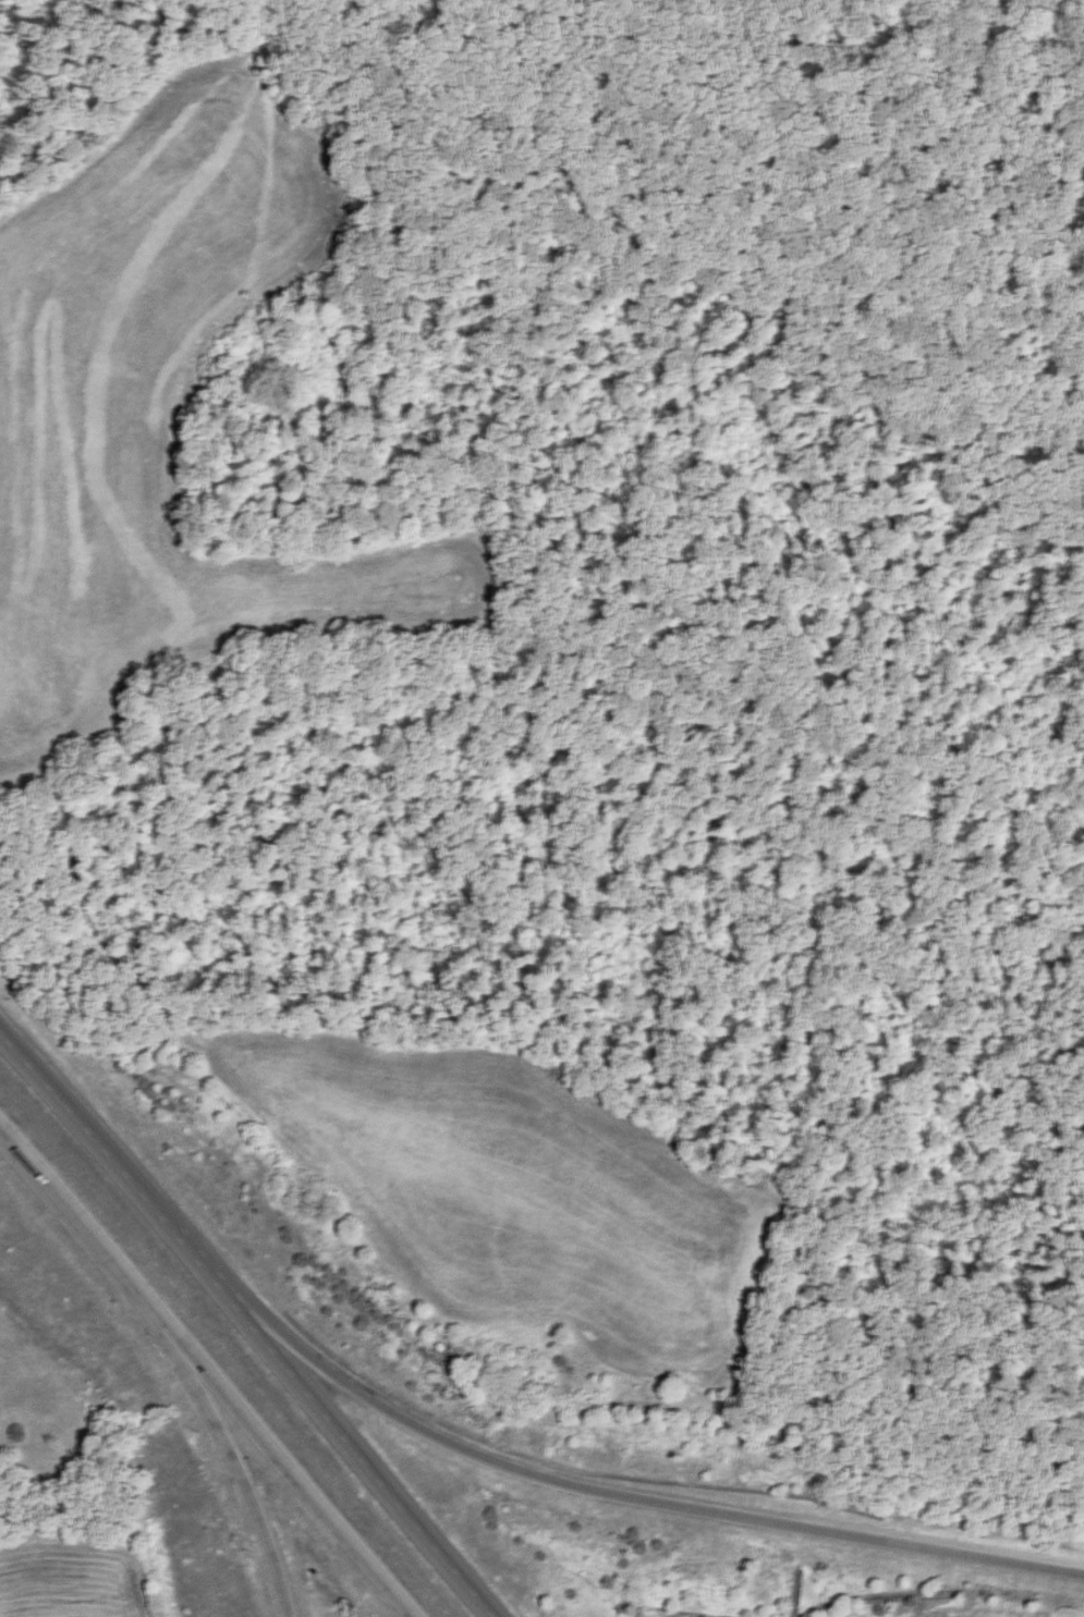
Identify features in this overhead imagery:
road: (249, 1323)
road: (203, 1391)
road: (660, 1496)
road: (261, 1519)

